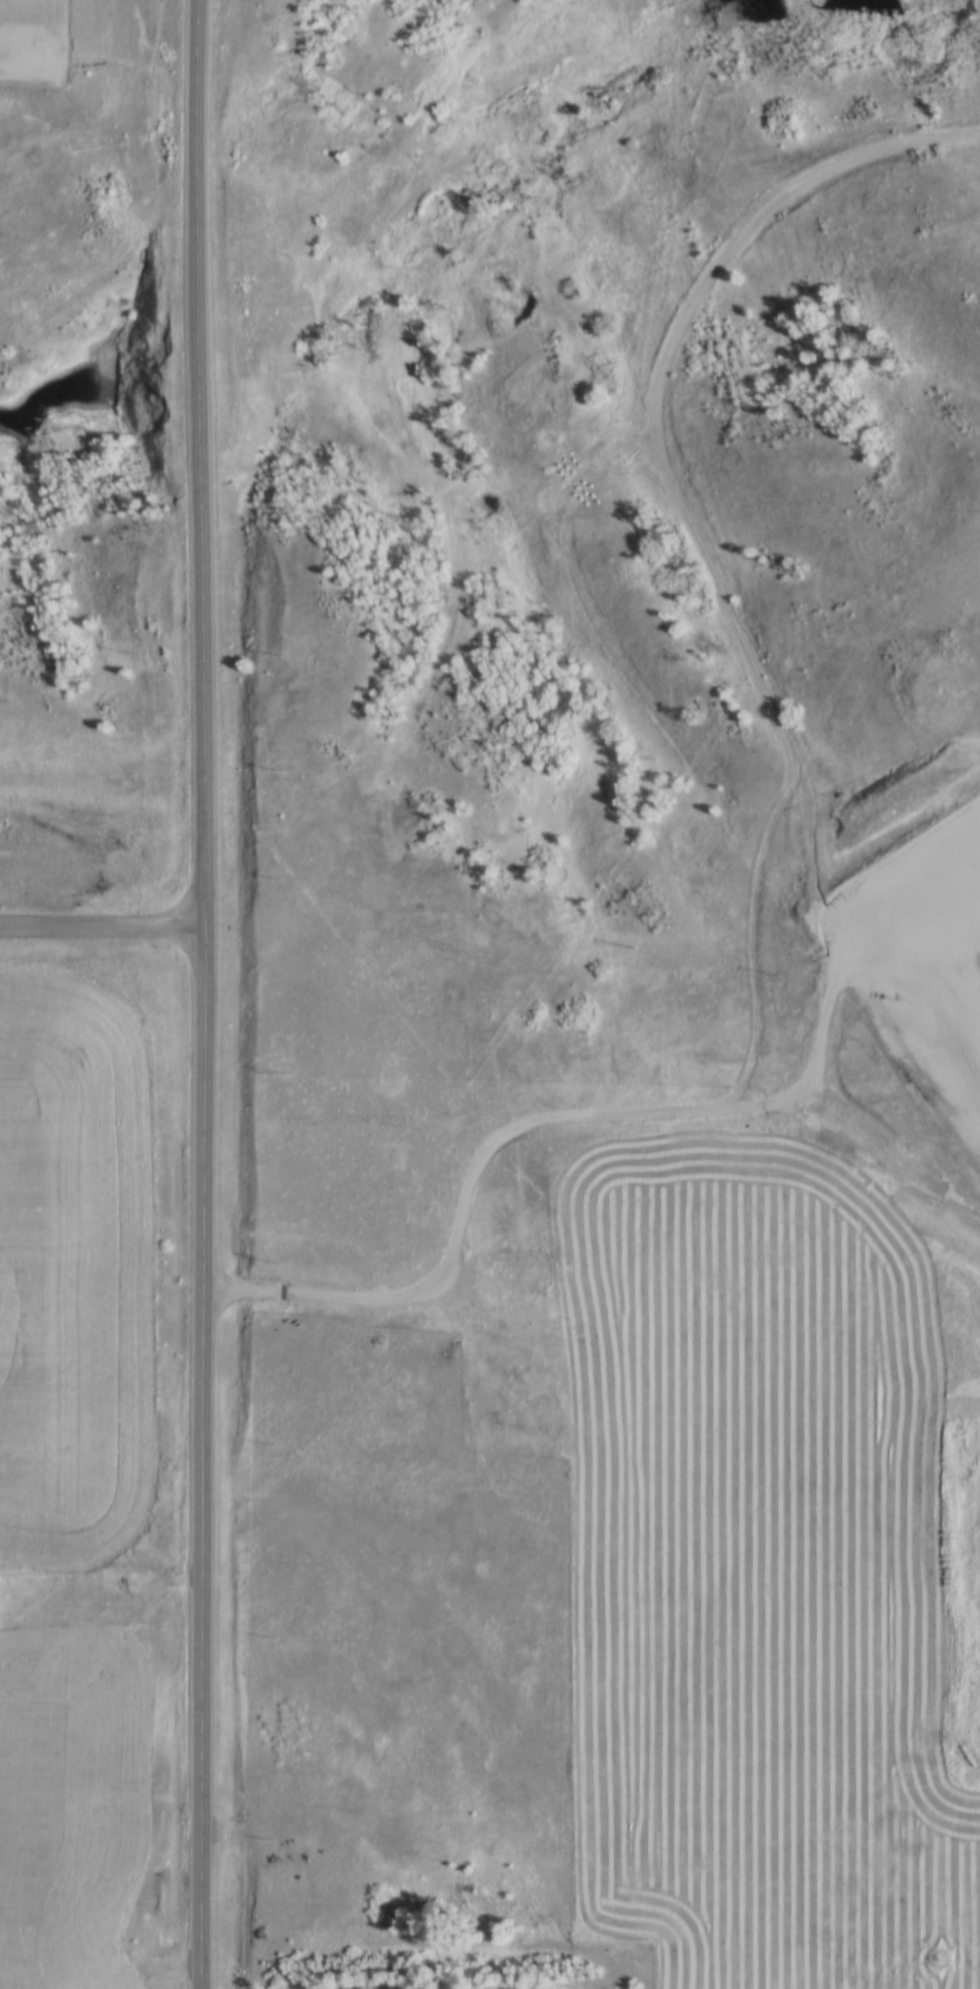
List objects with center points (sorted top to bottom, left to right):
road: (665, 473)
road: (100, 932)
road: (203, 994)
road: (873, 1110)
road: (601, 1120)
building: (103, 1927)

